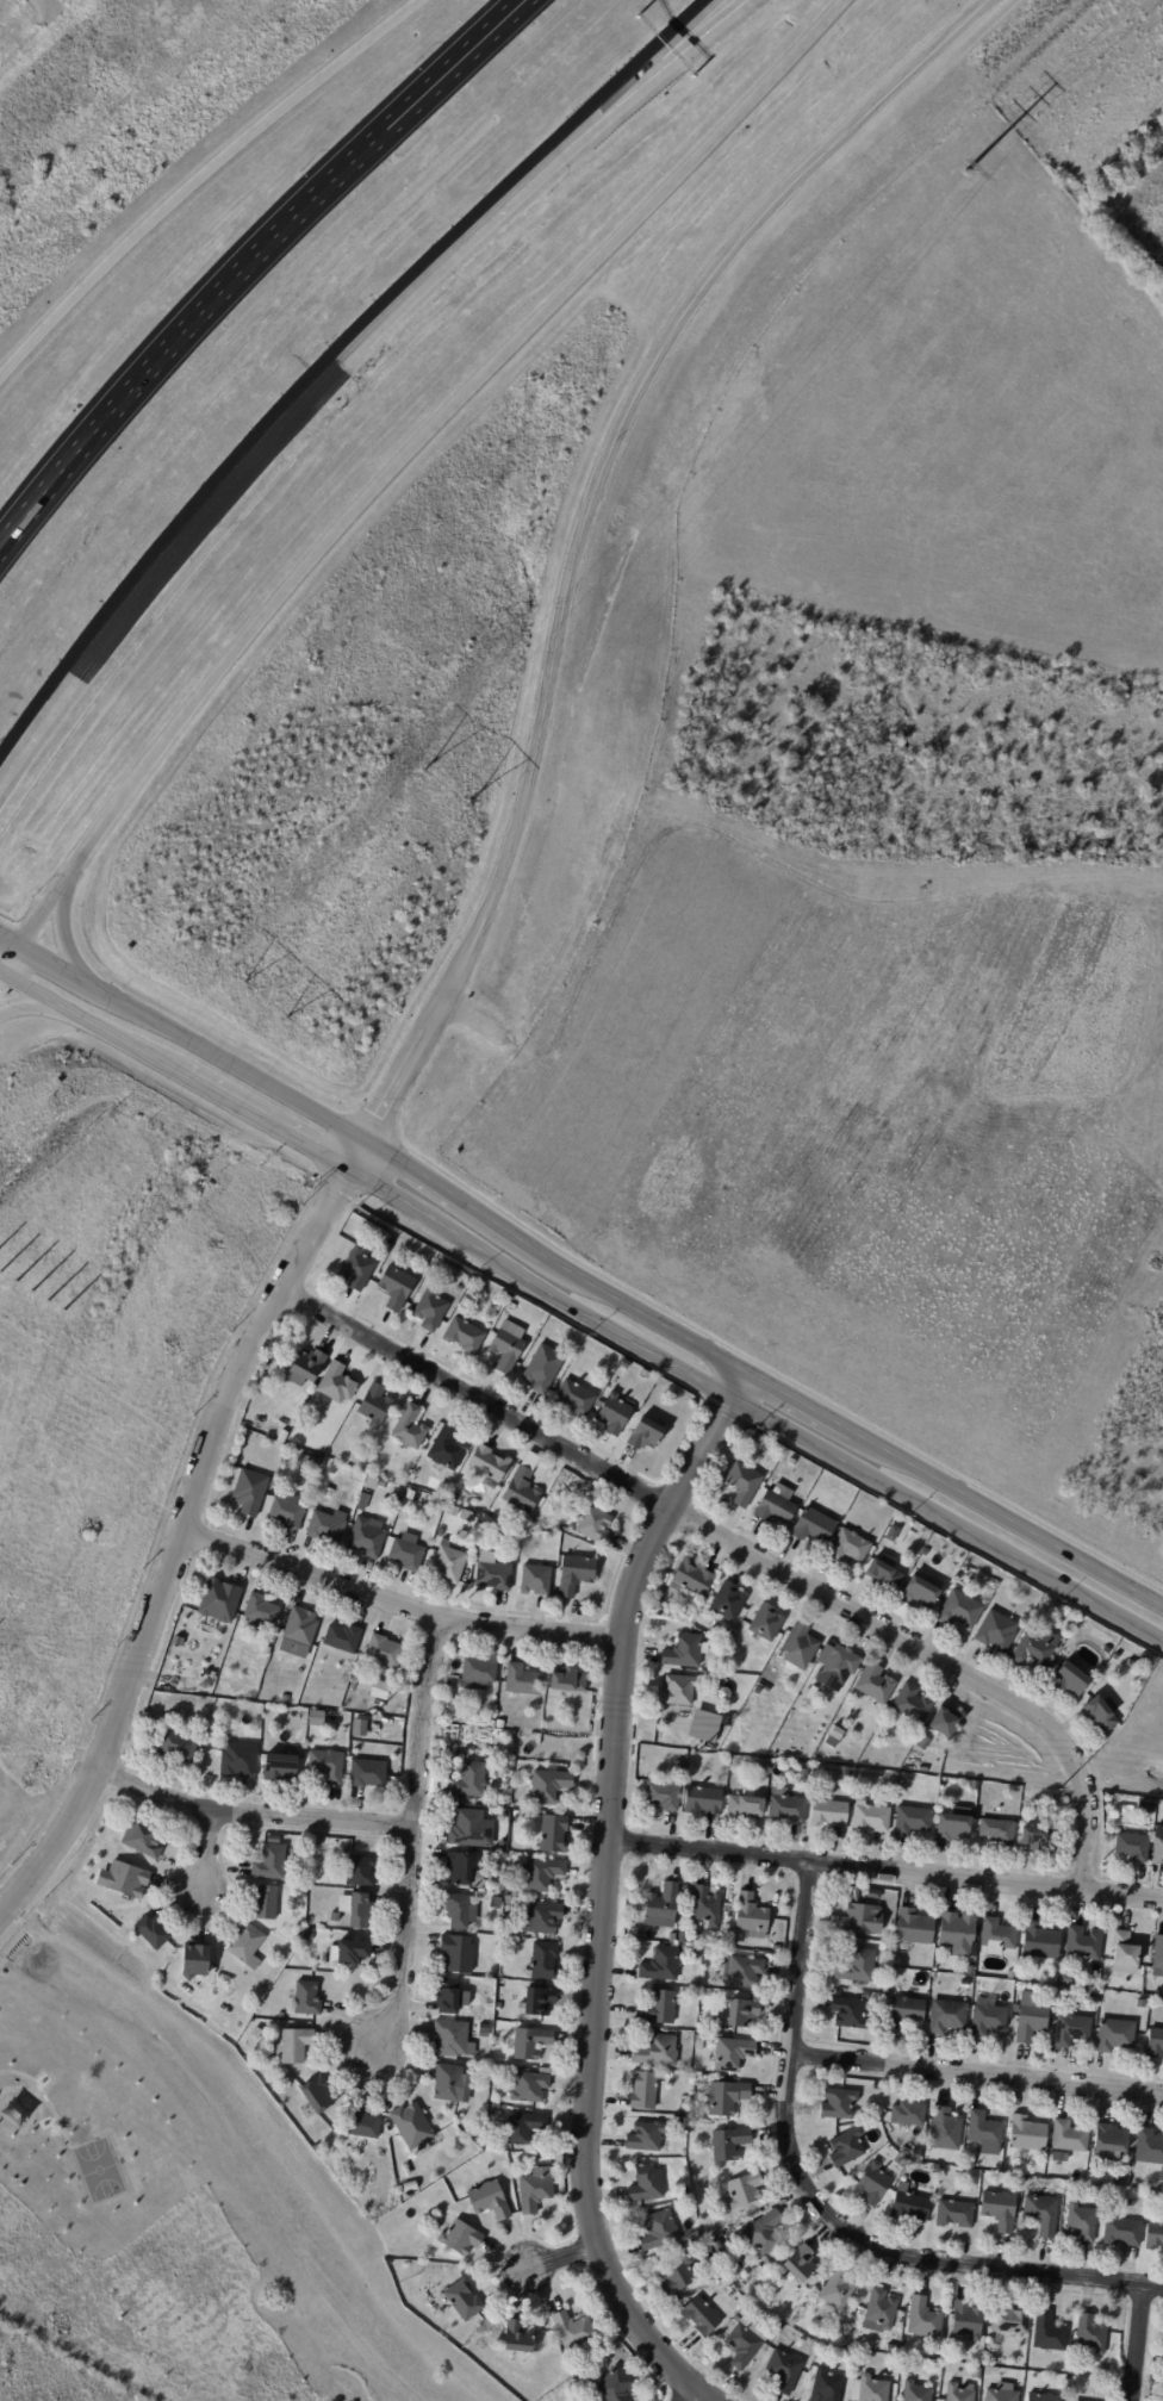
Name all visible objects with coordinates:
road: (636, 79)
road: (653, 79)
road: (369, 130)
road: (391, 130)
power tower: (963, 173)
road: (191, 181)
road: (119, 404)
road: (436, 423)
road: (254, 452)
road: (586, 523)
power tower: (439, 789)
road: (44, 916)
road: (11, 944)
road: (66, 945)
road: (14, 960)
road: (4, 970)
road: (62, 972)
road: (4, 978)
power tower: (254, 1003)
road: (37, 1006)
road: (93, 1026)
road: (235, 1065)
road: (266, 1121)
road: (356, 1153)
road: (462, 1203)
building: (356, 1269)
power tower: (20, 1288)
building: (394, 1288)
building: (459, 1288)
building: (511, 1306)
building: (429, 1308)
road: (651, 1319)
building: (464, 1336)
building: (506, 1346)
building: (305, 1367)
building: (542, 1368)
building: (659, 1379)
building: (336, 1385)
building: (573, 1398)
building: (597, 1405)
building: (374, 1406)
road: (804, 1406)
road: (753, 1407)
building: (614, 1412)
building: (267, 1422)
building: (409, 1427)
building: (261, 1430)
building: (646, 1433)
building: (304, 1435)
building: (281, 1436)
building: (755, 1437)
building: (281, 1449)
building: (444, 1449)
building: (322, 1461)
building: (306, 1462)
building: (487, 1462)
building: (791, 1462)
building: (331, 1469)
building: (372, 1481)
building: (744, 1482)
building: (523, 1486)
building: (326, 1489)
building: (249, 1492)
building: (410, 1495)
building: (453, 1498)
building: (776, 1504)
building: (452, 1507)
building: (286, 1512)
road: (1016, 1524)
building: (595, 1525)
building: (326, 1526)
building: (813, 1526)
building: (409, 1529)
building: (366, 1537)
road: (179, 1545)
building: (514, 1547)
building: (847, 1547)
road: (741, 1548)
building: (406, 1553)
building: (925, 1553)
building: (449, 1563)
building: (883, 1573)
building: (576, 1575)
building: (493, 1576)
building: (691, 1579)
building: (535, 1580)
building: (920, 1593)
building: (219, 1600)
road: (397, 1600)
building: (727, 1601)
building: (959, 1610)
building: (657, 1612)
building: (259, 1613)
building: (766, 1623)
building: (995, 1631)
building: (298, 1632)
building: (727, 1638)
building: (342, 1640)
building: (178, 1642)
building: (800, 1647)
building: (1035, 1649)
building: (385, 1652)
building: (685, 1652)
building: (1149, 1662)
building: (840, 1665)
building: (1132, 1666)
building: (711, 1667)
building: (478, 1671)
building: (212, 1674)
building: (344, 1678)
building: (567, 1679)
building: (1069, 1679)
building: (521, 1680)
building: (354, 1681)
building: (875, 1684)
building: (678, 1690)
building: (811, 1693)
building: (723, 1694)
building: (285, 1698)
building: (453, 1705)
building: (912, 1705)
power tower: (372, 1712)
building: (730, 1713)
building: (1100, 1713)
building: (316, 1718)
building: (944, 1721)
building: (499, 1724)
building: (360, 1729)
building: (921, 1741)
building: (178, 1747)
power tower: (698, 1748)
building: (237, 1760)
building: (325, 1765)
building: (279, 1768)
building: (778, 1771)
building: (366, 1773)
building: (804, 1773)
building: (523, 1775)
building: (469, 1780)
building: (975, 1785)
building: (547, 1786)
building: (867, 1786)
power tower: (1055, 1787)
building: (663, 1793)
building: (703, 1800)
building: (745, 1805)
building: (1146, 1805)
building: (785, 1808)
road: (248, 1814)
building: (828, 1814)
building: (521, 1815)
building: (870, 1817)
building: (912, 1821)
building: (953, 1824)
building: (466, 1828)
building: (997, 1831)
building: (553, 1835)
road: (406, 1837)
building: (144, 1839)
building: (1038, 1839)
building: (502, 1847)
building: (1132, 1847)
road: (201, 1848)
building: (1158, 1850)
building: (522, 1855)
building: (269, 1862)
building: (460, 1870)
road: (885, 1871)
building: (360, 1872)
building: (304, 1873)
building: (541, 1874)
building: (126, 1880)
road: (604, 1892)
building: (303, 1893)
building: (535, 1901)
building: (549, 1902)
building: (265, 1903)
building: (705, 1907)
building: (661, 1908)
building: (357, 1910)
building: (459, 1910)
building: (751, 1917)
building: (334, 1918)
building: (540, 1918)
building: (858, 1918)
building: (914, 1928)
building: (151, 1933)
building: (956, 1934)
building: (997, 1935)
building: (682, 1937)
building: (672, 1939)
building: (1039, 1942)
building: (1083, 1943)
building: (245, 1946)
building: (888, 1947)
building: (776, 1948)
building: (1124, 1951)
building: (350, 1952)
building: (707, 1953)
building: (456, 1954)
building: (1157, 1957)
building: (194, 1961)
building: (542, 1961)
building: (659, 1964)
building: (857, 1966)
building: (970, 1971)
building: (742, 1973)
building: (1010, 1974)
building: (919, 1976)
building: (1064, 1979)
building: (1058, 1993)
building: (449, 1997)
building: (306, 1999)
building: (492, 2002)
building: (537, 2002)
building: (1140, 2003)
building: (659, 2009)
building: (741, 2013)
building: (848, 2013)
building: (906, 2013)
building: (280, 2016)
building: (947, 2017)
building: (987, 2017)
building: (701, 2019)
building: (1031, 2022)
building: (701, 2028)
building: (257, 2030)
building: (1071, 2030)
building: (484, 2032)
building: (1114, 2035)
building: (701, 2038)
building: (452, 2039)
building: (529, 2044)
building: (293, 2045)
building: (1155, 2046)
building: (657, 2052)
building: (732, 2055)
building: (545, 2071)
road: (977, 2075)
building: (449, 2084)
building: (529, 2089)
building: (879, 2090)
building: (642, 2091)
building: (316, 2095)
road: (33, 2096)
road: (46, 2098)
building: (726, 2100)
building: (481, 2103)
building: (683, 2104)
building: (839, 2104)
building: (873, 2105)
building: (908, 2115)
building: (678, 2121)
building: (362, 2125)
building: (411, 2128)
building: (521, 2128)
building: (945, 2131)
building: (984, 2133)
building: (1027, 2134)
building: (645, 2136)
building: (1069, 2138)
building: (1108, 2142)
building: (728, 2144)
building: (1149, 2147)
building: (316, 2148)
building: (846, 2148)
building: (958, 2159)
building: (969, 2164)
building: (927, 2167)
building: (1040, 2170)
park: (100, 2172)
building: (1120, 2181)
building: (646, 2184)
building: (872, 2184)
building: (534, 2190)
building: (745, 2191)
building: (489, 2201)
building: (909, 2204)
building: (1127, 2207)
building: (1000, 2210)
road: (819, 2212)
park: (145, 2213)
building: (956, 2214)
building: (1041, 2215)
building: (1081, 2223)
building: (659, 2231)
building: (1122, 2233)
building: (763, 2235)
building: (1155, 2237)
building: (459, 2239)
road: (555, 2257)
building: (801, 2264)
building: (714, 2268)
building: (676, 2276)
building: (838, 2291)
building: (462, 2301)
building: (748, 2309)
building: (879, 2312)
building: (699, 2318)
building: (922, 2319)
building: (1009, 2320)
building: (966, 2321)
building: (1049, 2332)
building: (576, 2333)
building: (789, 2334)
building: (1090, 2337)
building: (517, 2338)
building: (745, 2343)
road: (1137, 2343)
building: (891, 2349)
building: (938, 2352)
building: (784, 2371)
building: (987, 2371)
building: (584, 2372)
building: (976, 2375)
building: (614, 2386)
building: (826, 2387)
building: (873, 2389)
building: (916, 2393)
building: (959, 2393)
building: (1002, 2393)
road: (684, 2396)
building: (1041, 2397)

